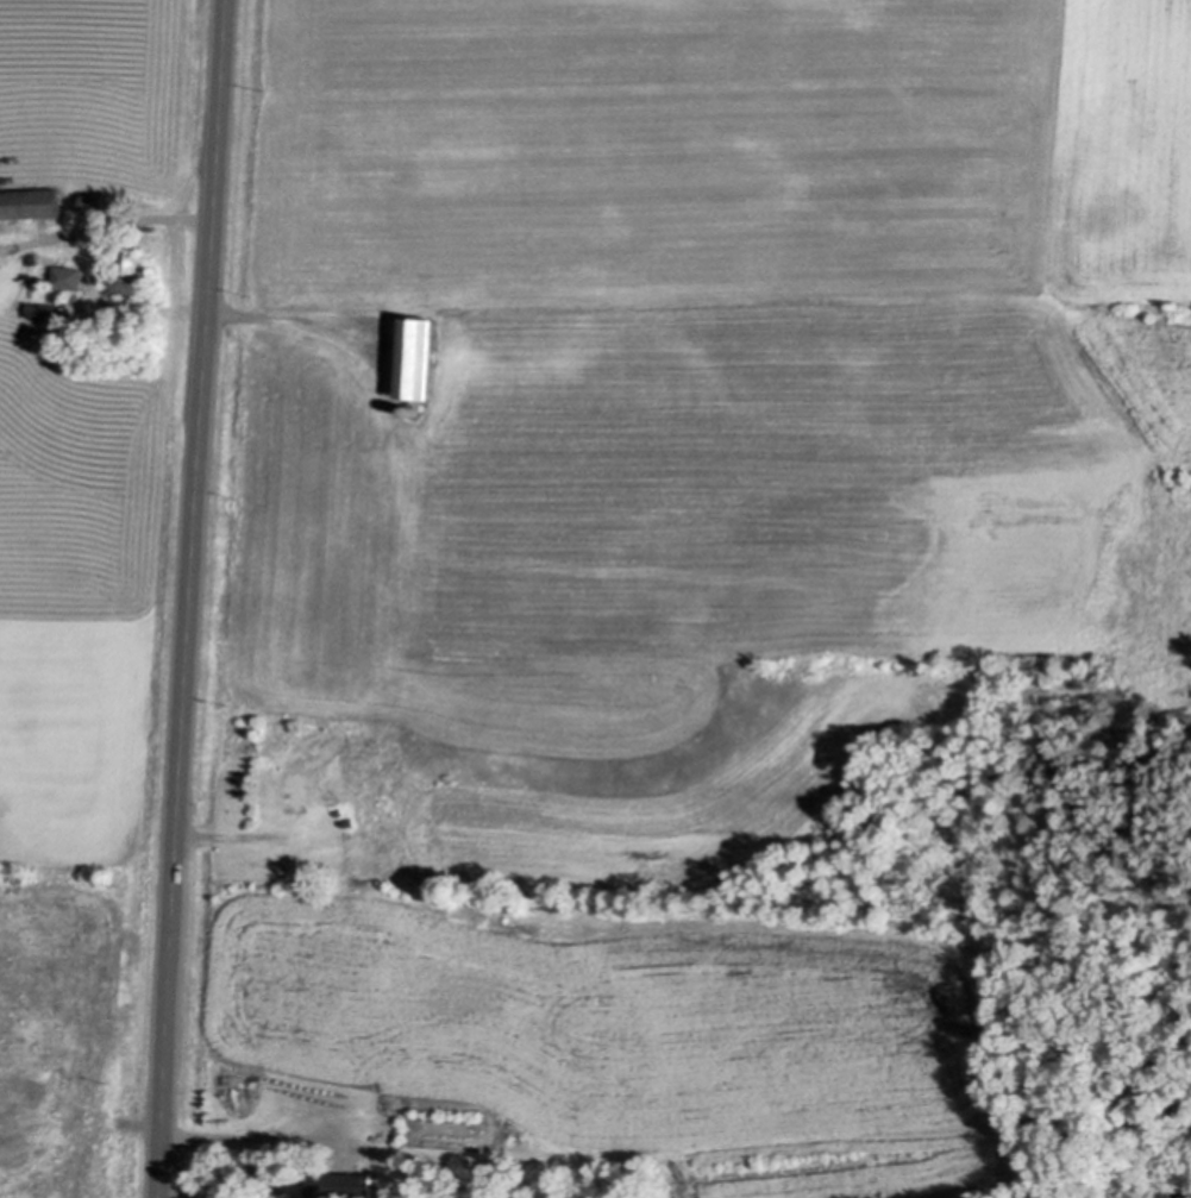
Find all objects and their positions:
building: (31, 201)
building: (96, 201)
building: (32, 256)
building: (132, 271)
building: (68, 275)
building: (74, 296)
building: (45, 308)
building: (416, 355)
building: (413, 407)
road: (190, 598)
building: (295, 788)
building: (346, 818)
building: (343, 1184)

